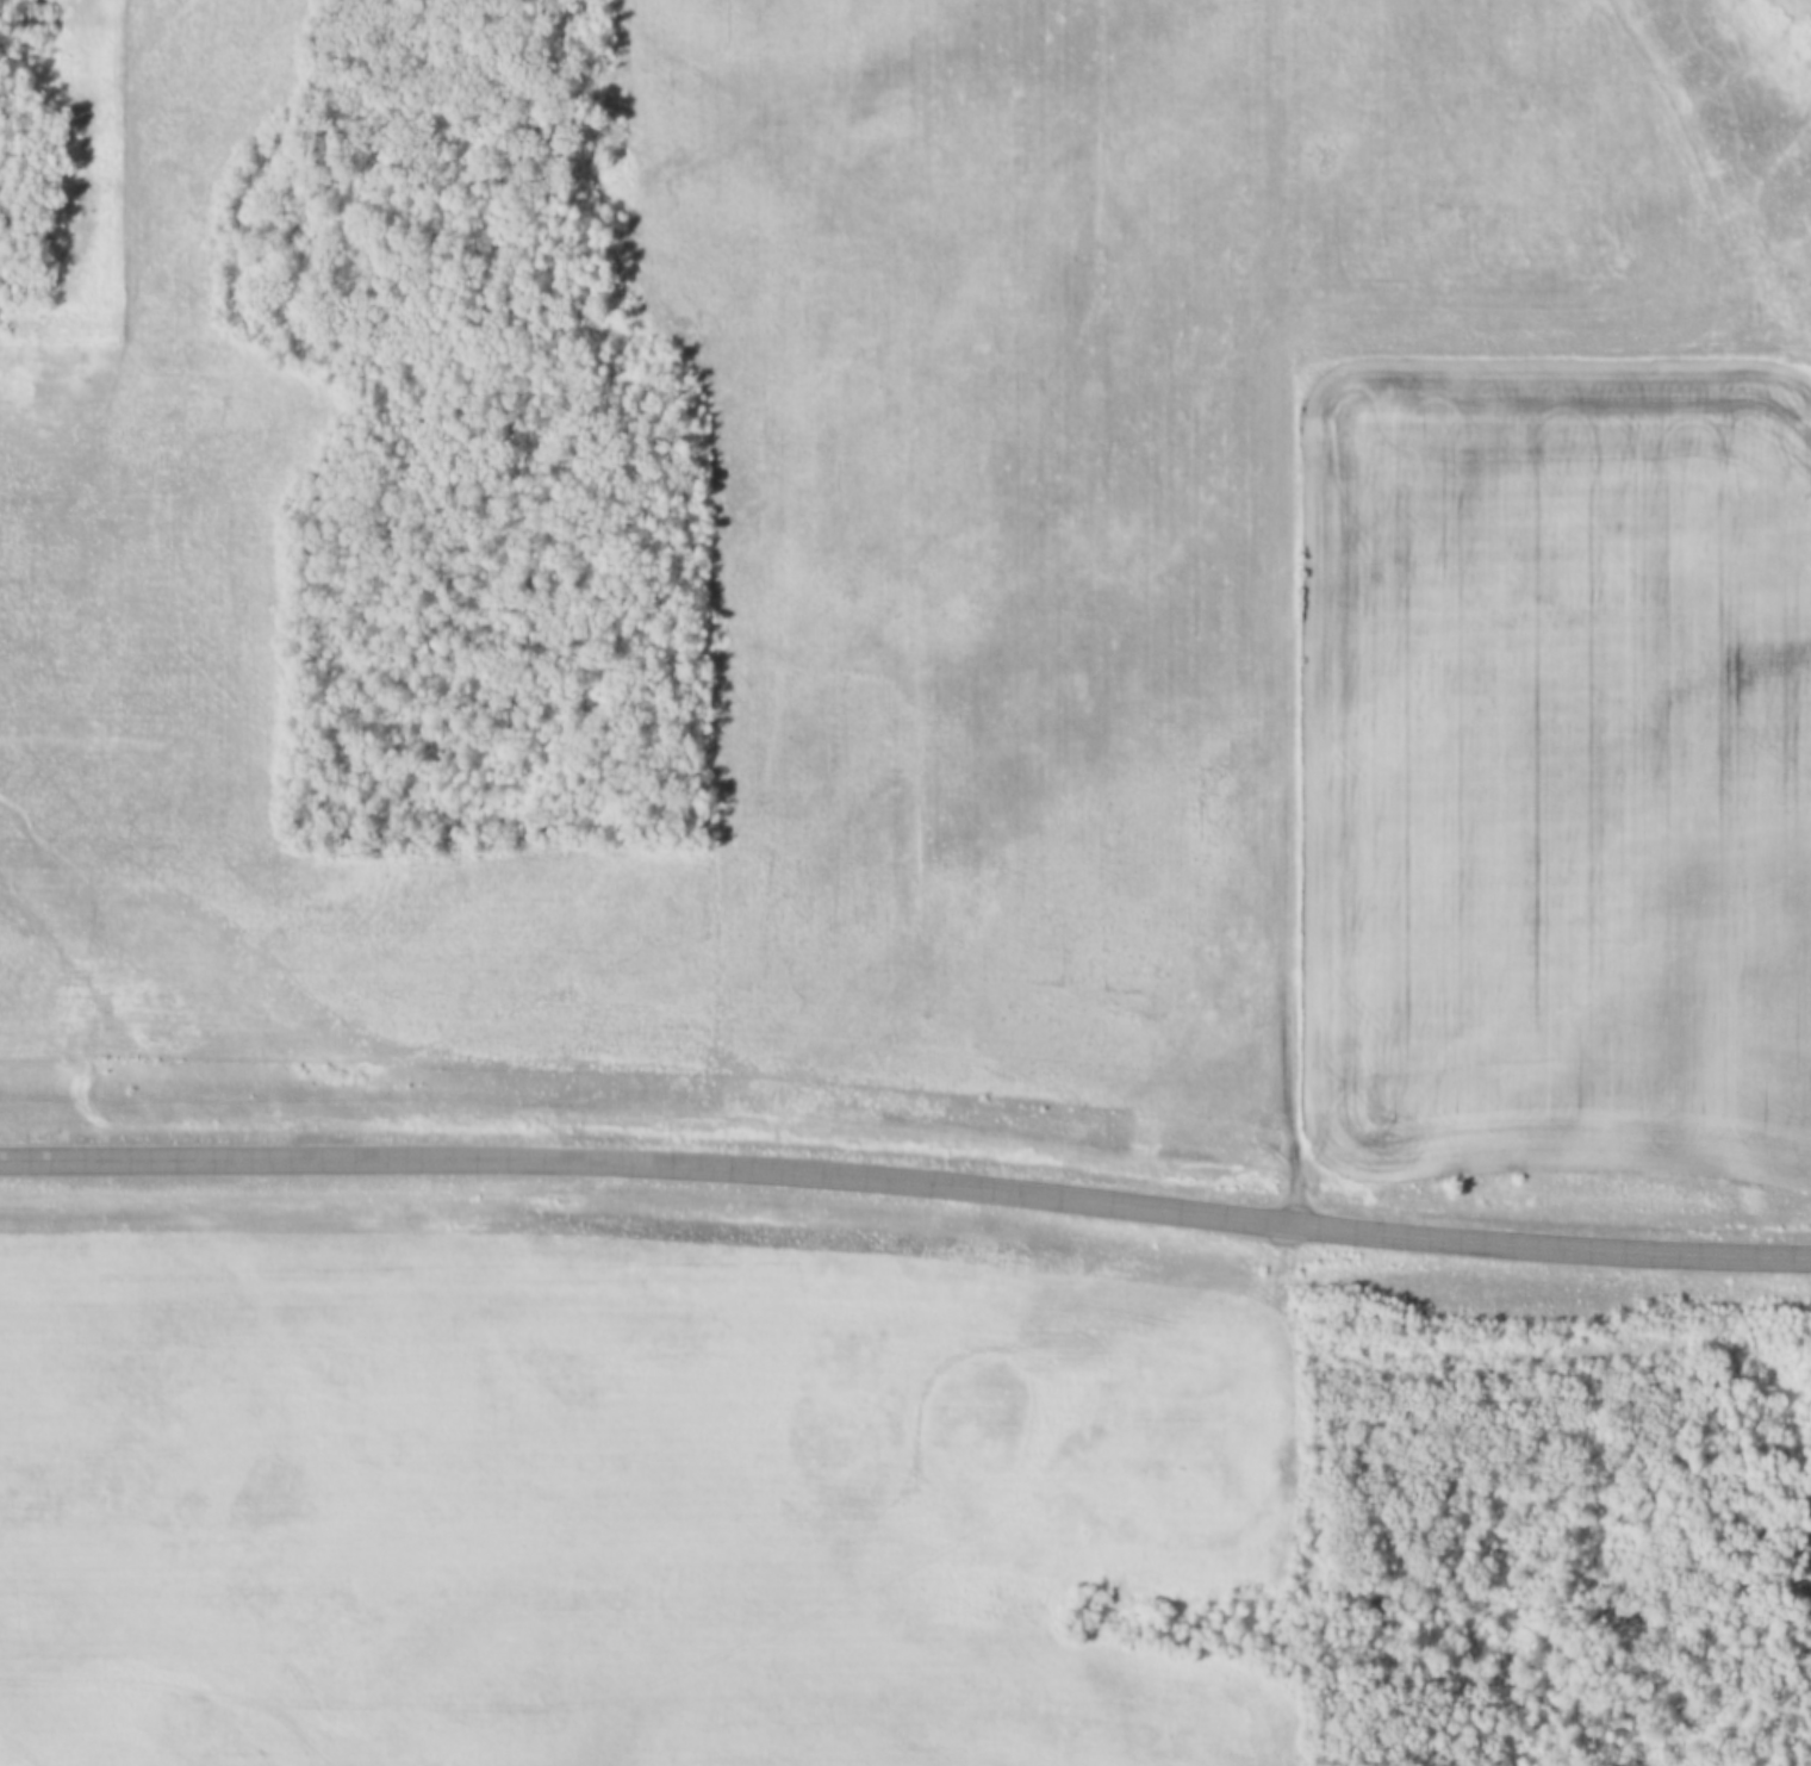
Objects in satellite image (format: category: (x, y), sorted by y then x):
road: (1277, 533)
road: (907, 1179)

